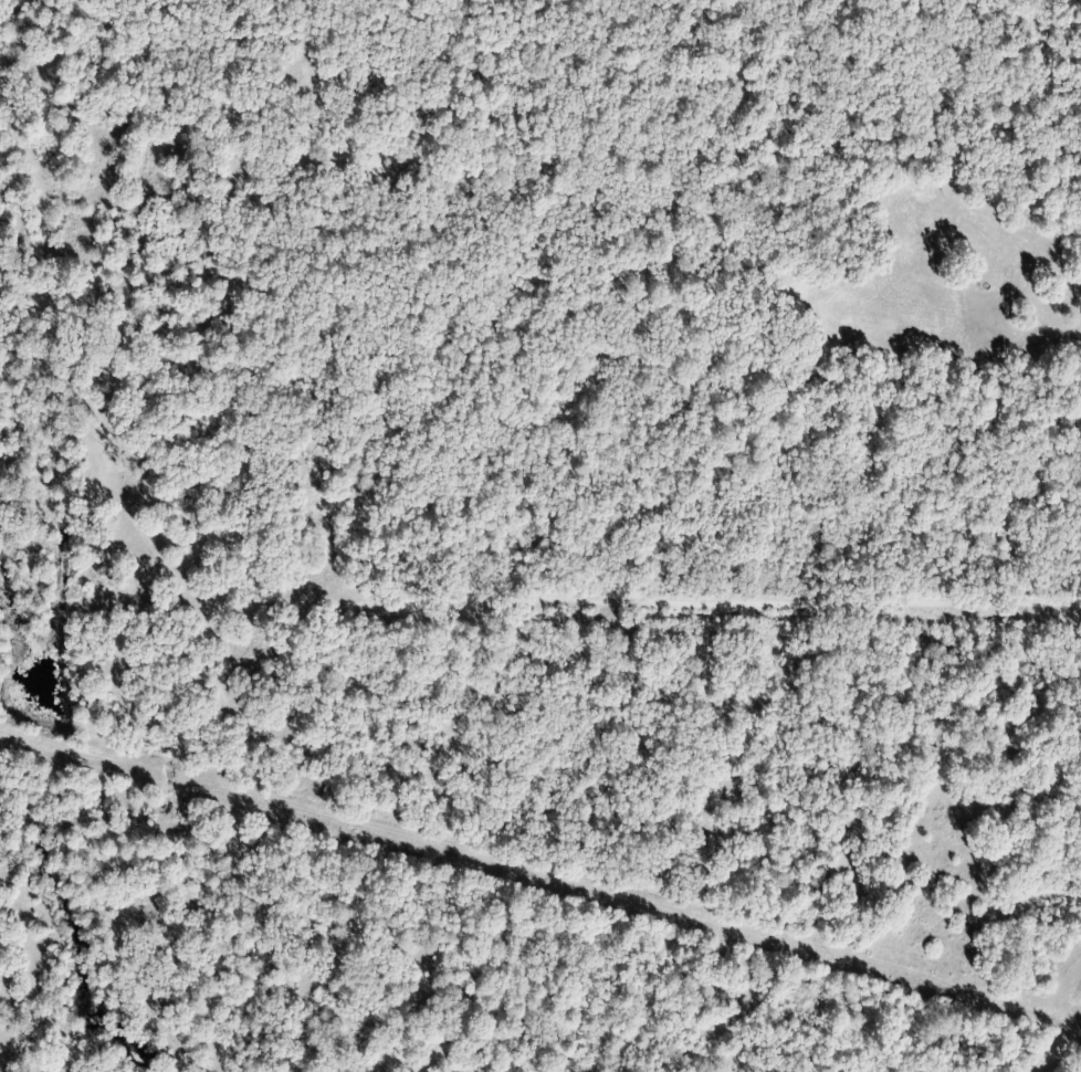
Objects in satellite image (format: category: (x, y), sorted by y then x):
road: (540, 871)
road: (1051, 1043)

